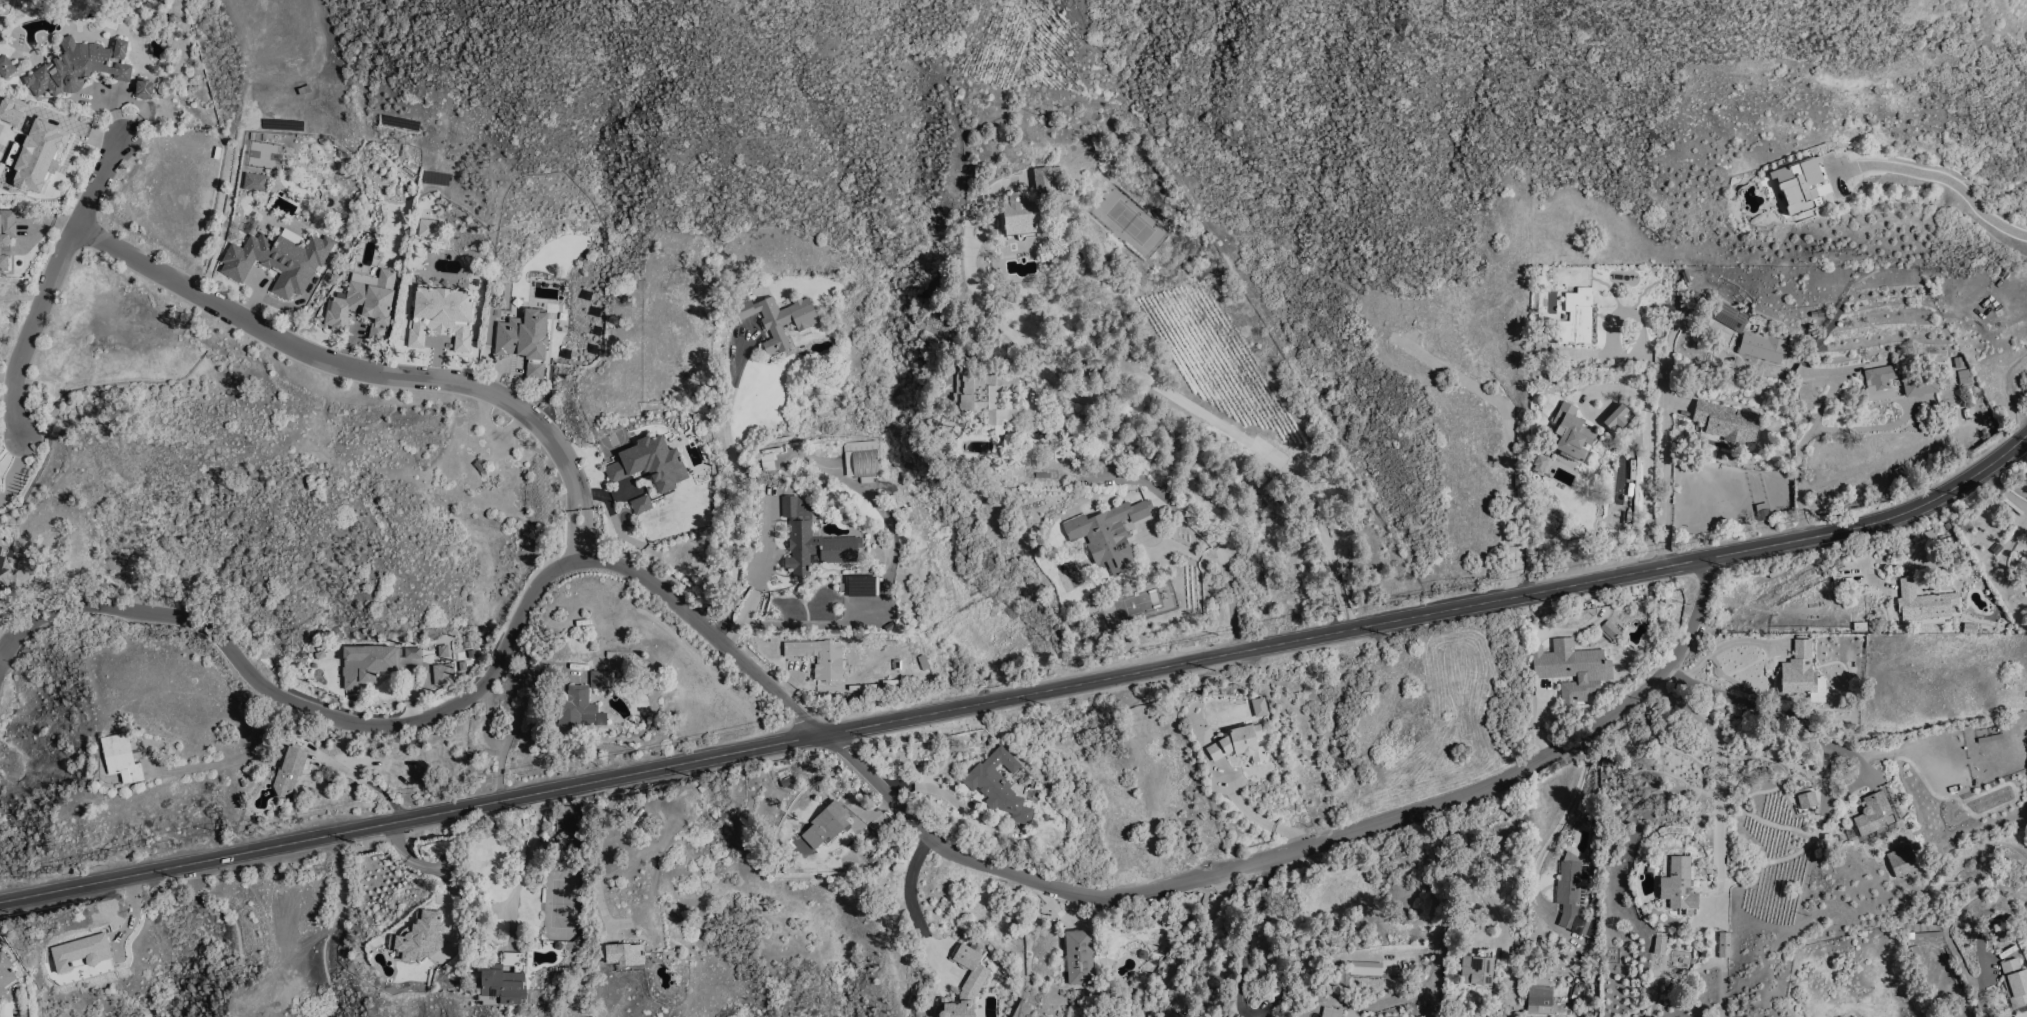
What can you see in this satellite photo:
building: (7, 67)
building: (78, 67)
building: (145, 90)
building: (10, 111)
building: (37, 156)
road: (1945, 179)
building: (1048, 180)
building: (256, 183)
building: (1801, 184)
building: (1022, 217)
building: (431, 229)
building: (5, 237)
building: (280, 261)
road: (53, 286)
building: (365, 304)
building: (443, 317)
building: (1579, 319)
building: (780, 320)
building: (711, 326)
building: (706, 330)
building: (1752, 336)
building: (526, 340)
road: (356, 371)
building: (1965, 377)
road: (9, 378)
building: (1881, 382)
road: (1151, 384)
building: (1921, 385)
building: (987, 398)
building: (1619, 419)
building: (1729, 422)
building: (1053, 432)
building: (1573, 433)
road: (1648, 434)
road: (1802, 448)
building: (770, 459)
building: (862, 461)
building: (651, 464)
building: (1539, 464)
road: (1668, 467)
road: (739, 485)
building: (0, 491)
road: (2004, 493)
building: (642, 505)
building: (791, 507)
building: (1763, 512)
building: (1962, 526)
building: (1110, 535)
road: (1208, 537)
road: (581, 546)
building: (817, 549)
building: (5, 566)
building: (865, 588)
road: (758, 590)
building: (1924, 603)
road: (868, 609)
road: (1441, 616)
building: (1610, 630)
road: (1717, 649)
building: (821, 658)
building: (368, 665)
building: (1573, 669)
building: (1798, 672)
building: (602, 680)
building: (1819, 694)
building: (1258, 707)
road: (446, 708)
building: (580, 709)
road: (1784, 714)
road: (515, 718)
building: (1239, 745)
building: (122, 758)
road: (232, 760)
road: (1720, 766)
building: (289, 770)
road: (367, 784)
building: (1000, 786)
building: (1808, 801)
building: (1874, 815)
road: (1260, 819)
road: (416, 820)
building: (827, 825)
road: (1558, 829)
building: (570, 832)
road: (1303, 852)
building: (1903, 862)
road: (521, 866)
road: (430, 868)
building: (1680, 886)
building: (1573, 891)
road: (908, 896)
road: (1488, 899)
building: (1581, 926)
building: (419, 934)
road: (1983, 934)
building: (1929, 935)
road: (1248, 939)
building: (1660, 945)
building: (1724, 945)
building: (554, 946)
road: (1196, 950)
building: (1684, 950)
building: (627, 957)
building: (1080, 958)
road: (1439, 967)
building: (1365, 969)
building: (1478, 969)
building: (6, 975)
building: (504, 982)
building: (2015, 983)
building: (967, 984)
building: (1540, 998)
building: (1332, 1013)

